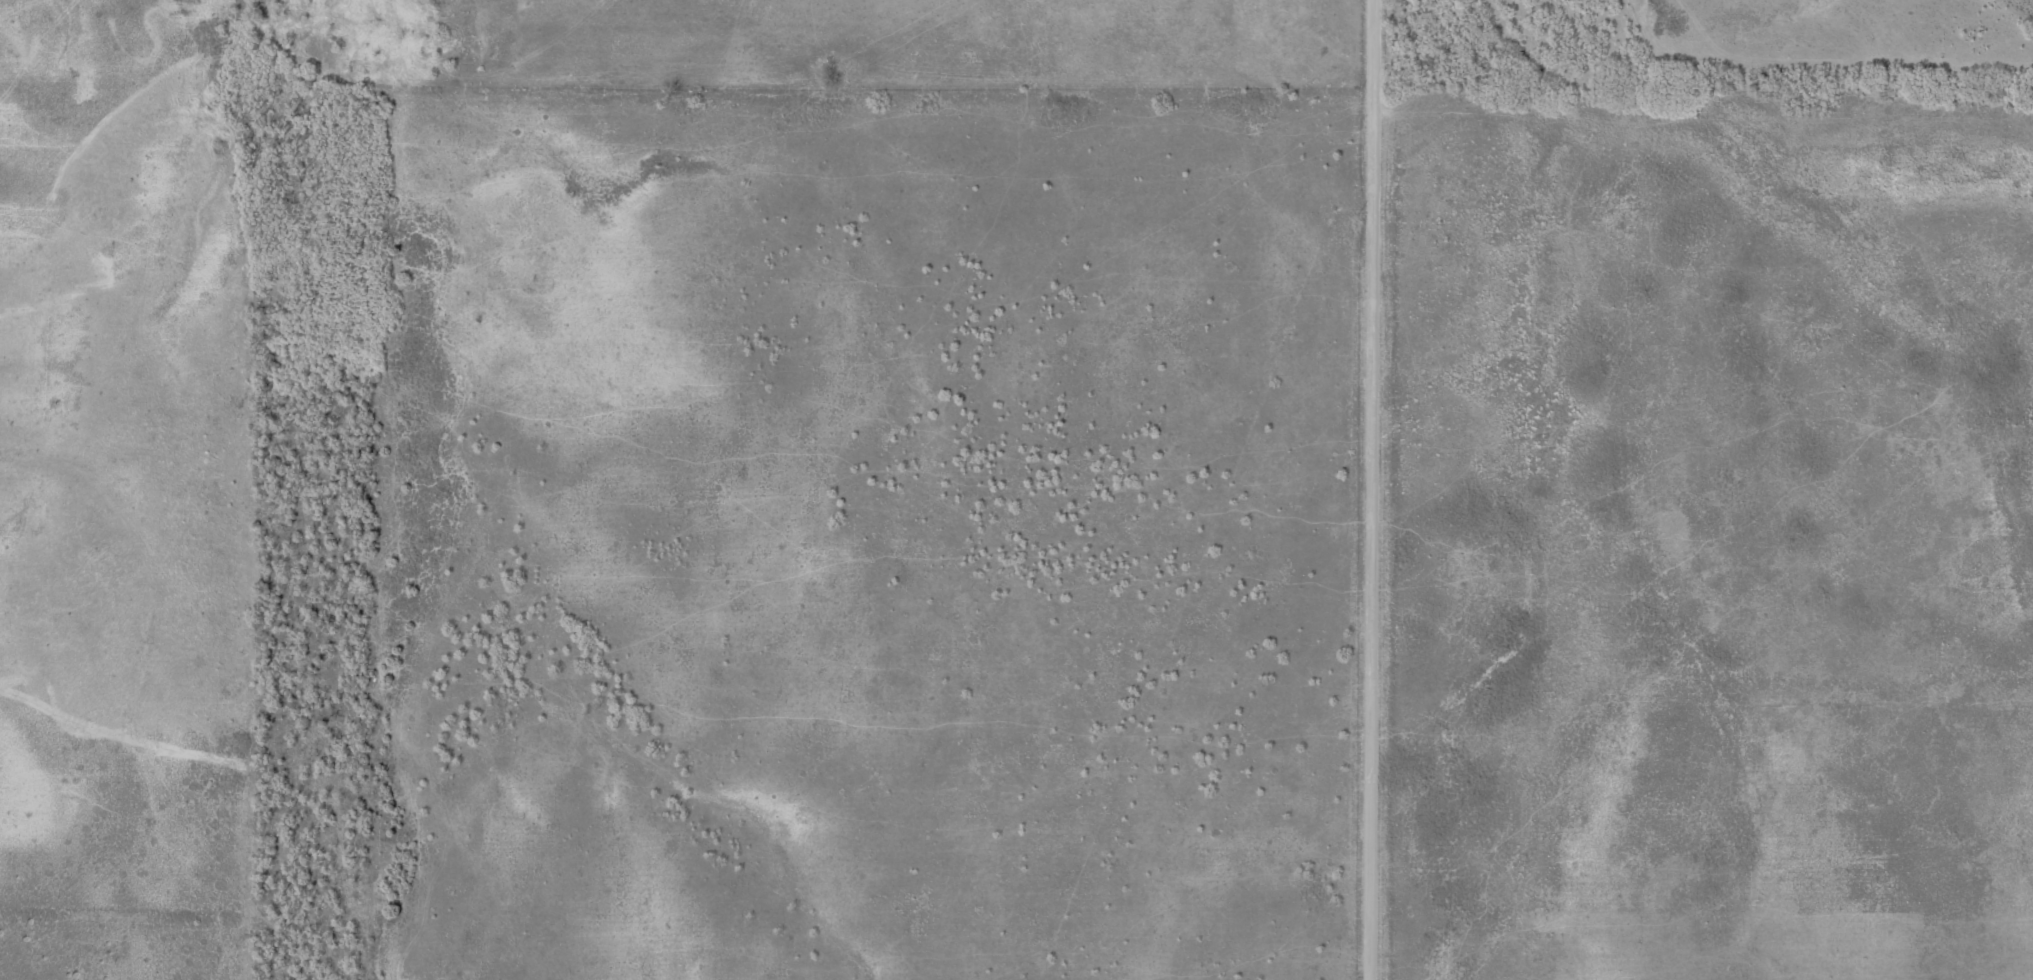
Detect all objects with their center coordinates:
road: (1363, 489)

